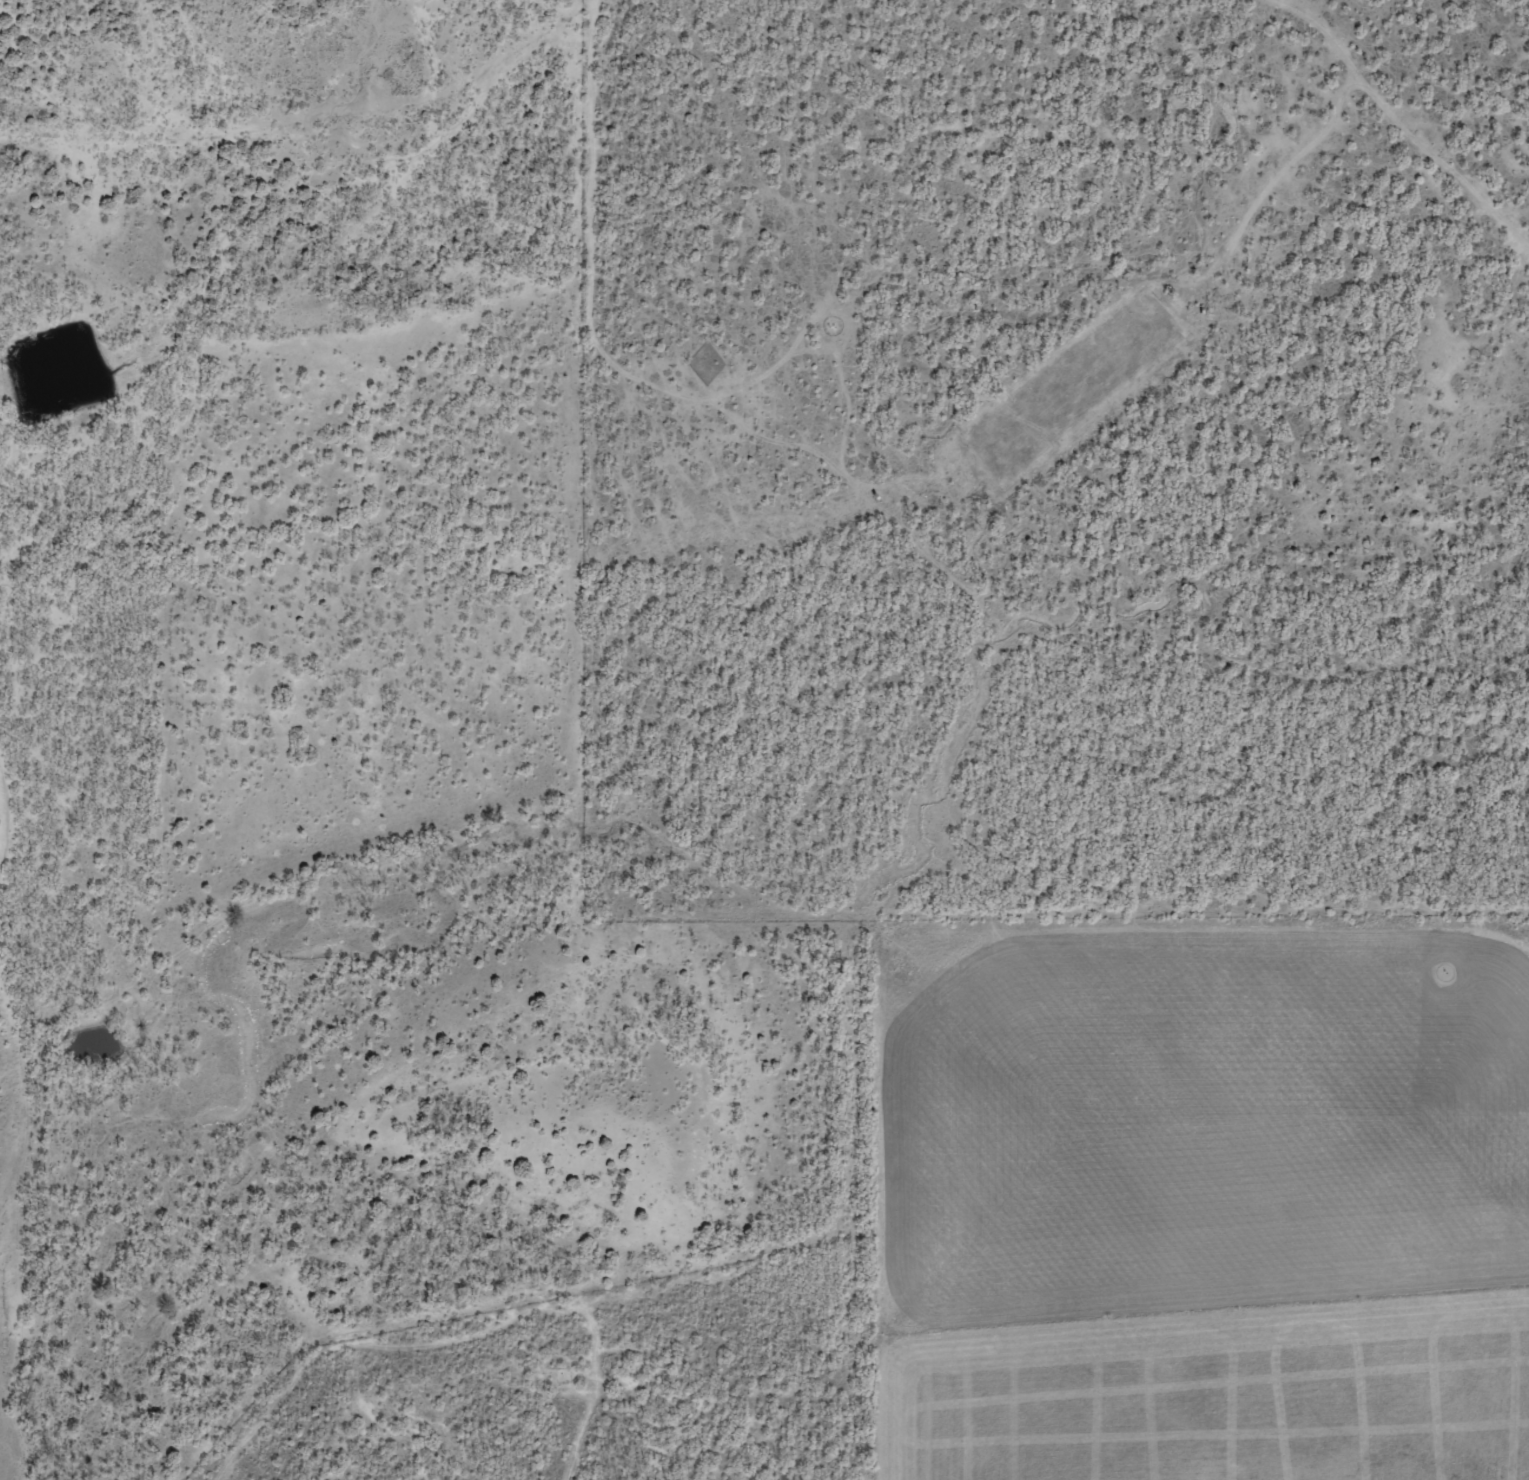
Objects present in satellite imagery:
road: (156, 1337)

